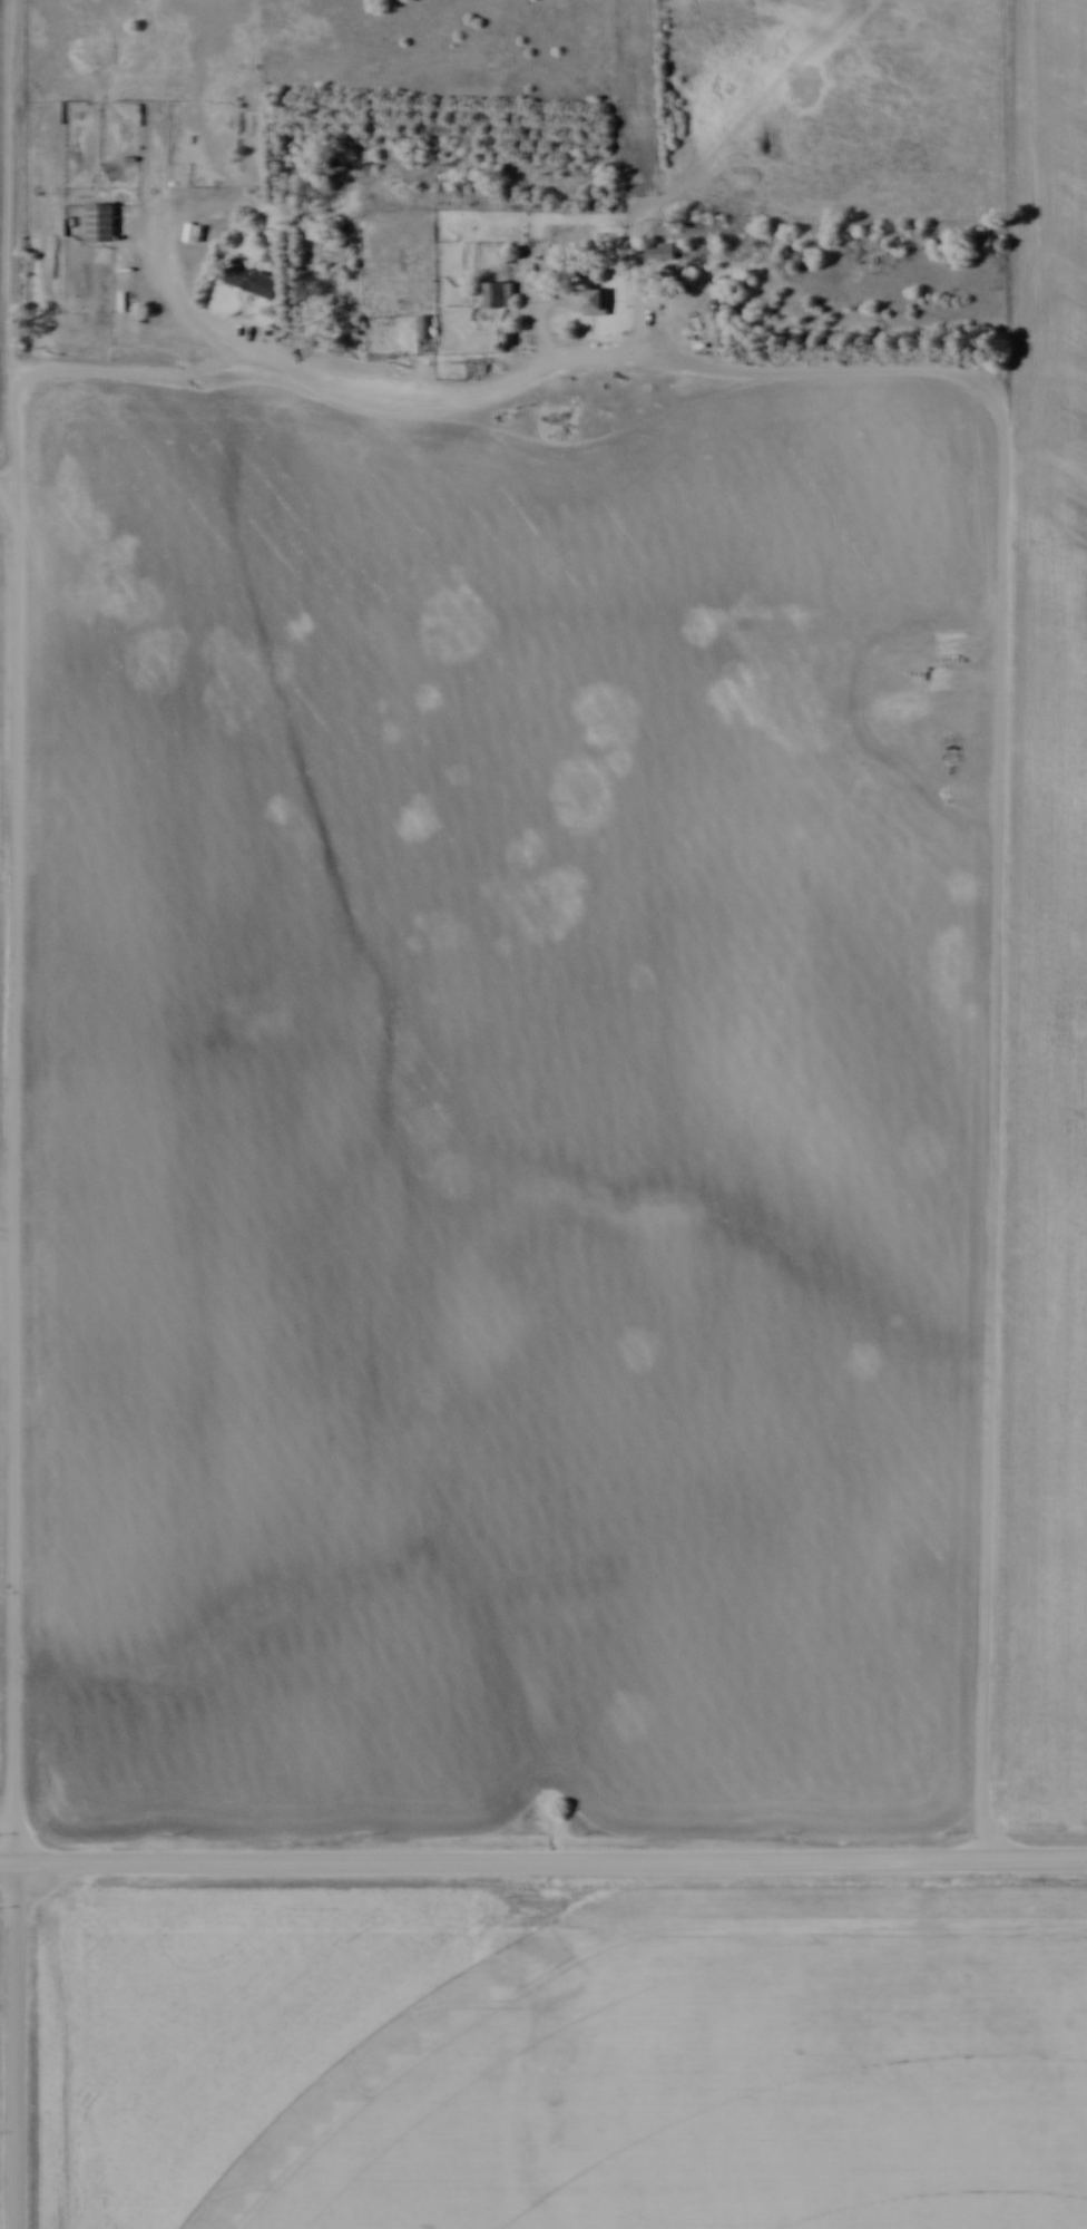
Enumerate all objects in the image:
building: (104, 224)
building: (665, 254)
building: (256, 282)
building: (497, 295)
building: (599, 303)
building: (723, 306)
building: (428, 327)
building: (511, 338)
road: (506, 388)
road: (10, 477)
building: (951, 748)
road: (543, 1862)
road: (21, 2044)
building: (1052, 2081)

